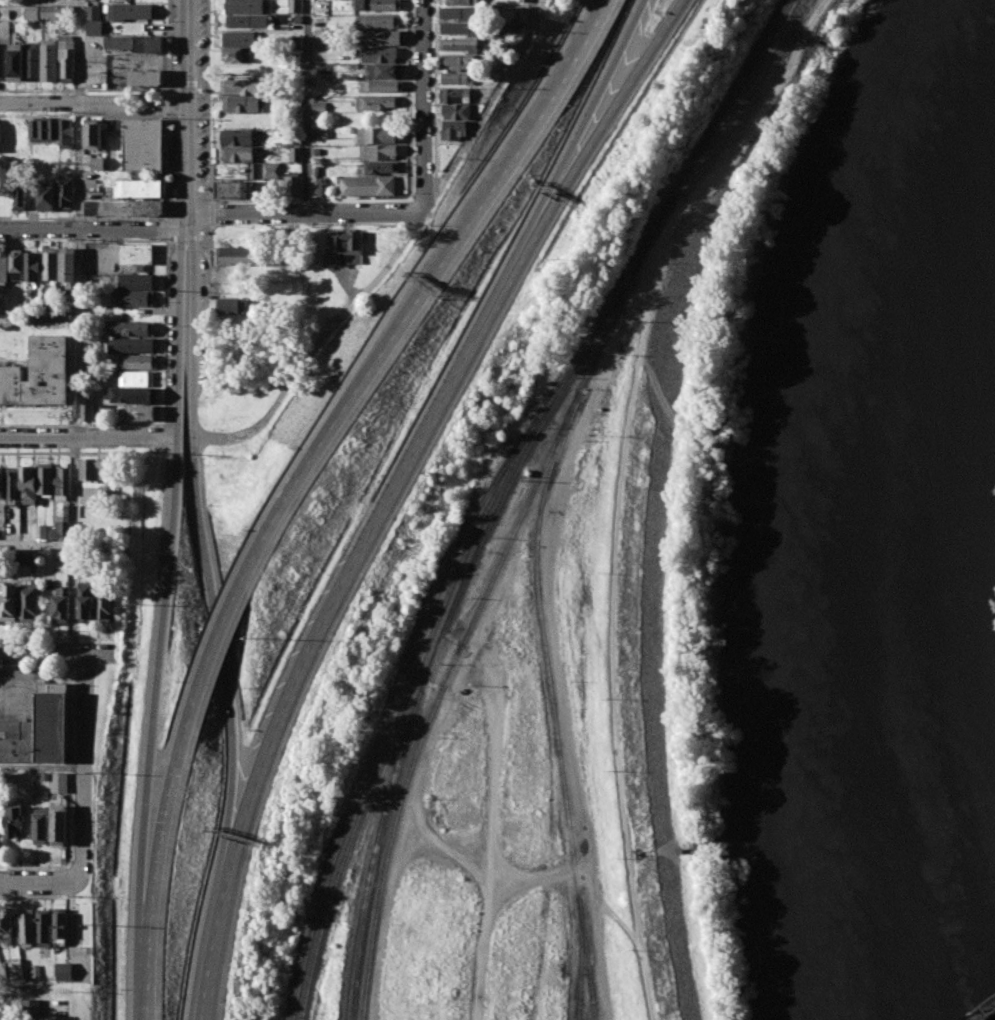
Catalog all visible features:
road: (39, 0)
building: (526, 0)
building: (463, 1)
building: (379, 4)
building: (246, 6)
building: (296, 6)
building: (66, 10)
building: (131, 10)
building: (32, 12)
building: (49, 12)
building: (92, 12)
building: (461, 13)
building: (523, 15)
building: (299, 18)
building: (247, 20)
building: (378, 21)
building: (94, 27)
building: (459, 27)
building: (518, 30)
building: (381, 37)
building: (240, 38)
building: (295, 41)
building: (136, 43)
building: (460, 44)
building: (509, 45)
building: (377, 54)
building: (236, 55)
building: (67, 56)
building: (32, 58)
building: (49, 59)
building: (458, 60)
building: (3, 61)
building: (16, 61)
building: (382, 71)
building: (145, 77)
building: (457, 77)
building: (381, 85)
building: (244, 87)
building: (456, 95)
railway: (728, 99)
road: (93, 102)
road: (208, 102)
building: (376, 102)
road: (487, 103)
building: (241, 104)
road: (423, 104)
road: (594, 104)
road: (613, 104)
road: (307, 105)
road: (186, 106)
building: (319, 106)
building: (457, 111)
building: (43, 129)
building: (452, 129)
building: (10, 133)
building: (66, 133)
building: (92, 133)
building: (320, 133)
building: (377, 135)
building: (238, 136)
building: (296, 139)
building: (143, 144)
building: (316, 151)
building: (380, 151)
building: (238, 153)
building: (296, 154)
building: (96, 163)
building: (379, 166)
building: (272, 170)
building: (235, 171)
railway: (694, 179)
building: (368, 185)
building: (316, 186)
building: (294, 187)
building: (138, 188)
building: (235, 189)
building: (65, 191)
building: (19, 195)
building: (46, 195)
road: (408, 198)
building: (123, 207)
road: (304, 212)
road: (211, 214)
road: (185, 221)
road: (92, 230)
building: (346, 244)
building: (136, 254)
building: (237, 256)
railway: (635, 261)
building: (50, 263)
building: (67, 263)
building: (15, 264)
building: (32, 266)
building: (3, 268)
road: (434, 268)
road: (206, 270)
building: (136, 282)
building: (135, 298)
building: (1, 306)
building: (48, 306)
building: (231, 306)
road: (79, 309)
road: (39, 318)
building: (6, 326)
building: (135, 328)
road: (178, 332)
road: (191, 332)
road: (316, 342)
building: (131, 345)
building: (139, 362)
railway: (569, 370)
building: (39, 374)
building: (135, 378)
building: (132, 394)
building: (91, 412)
building: (142, 413)
road: (87, 436)
building: (91, 469)
building: (529, 472)
building: (45, 479)
building: (1, 481)
building: (62, 481)
building: (28, 484)
road: (622, 484)
building: (12, 485)
building: (108, 493)
building: (63, 526)
building: (41, 531)
river: (893, 545)
building: (28, 558)
road: (332, 597)
railway: (483, 599)
building: (8, 600)
building: (29, 601)
building: (85, 601)
building: (61, 604)
building: (104, 606)
road: (216, 639)
road: (557, 642)
road: (55, 653)
railway: (433, 657)
road: (219, 658)
road: (156, 662)
road: (38, 666)
road: (472, 671)
railway: (553, 704)
railway: (391, 709)
railway: (401, 711)
building: (39, 728)
road: (85, 763)
road: (42, 767)
building: (8, 778)
building: (60, 783)
building: (15, 819)
road: (164, 819)
building: (42, 824)
building: (60, 825)
road: (450, 851)
road: (541, 877)
road: (40, 880)
railway: (548, 880)
building: (62, 925)
building: (6, 926)
building: (28, 926)
building: (45, 928)
road: (145, 954)
railway: (580, 957)
building: (14, 968)
building: (66, 970)
building: (36, 971)
road: (6, 998)
building: (32, 1008)
railway: (986, 1014)

